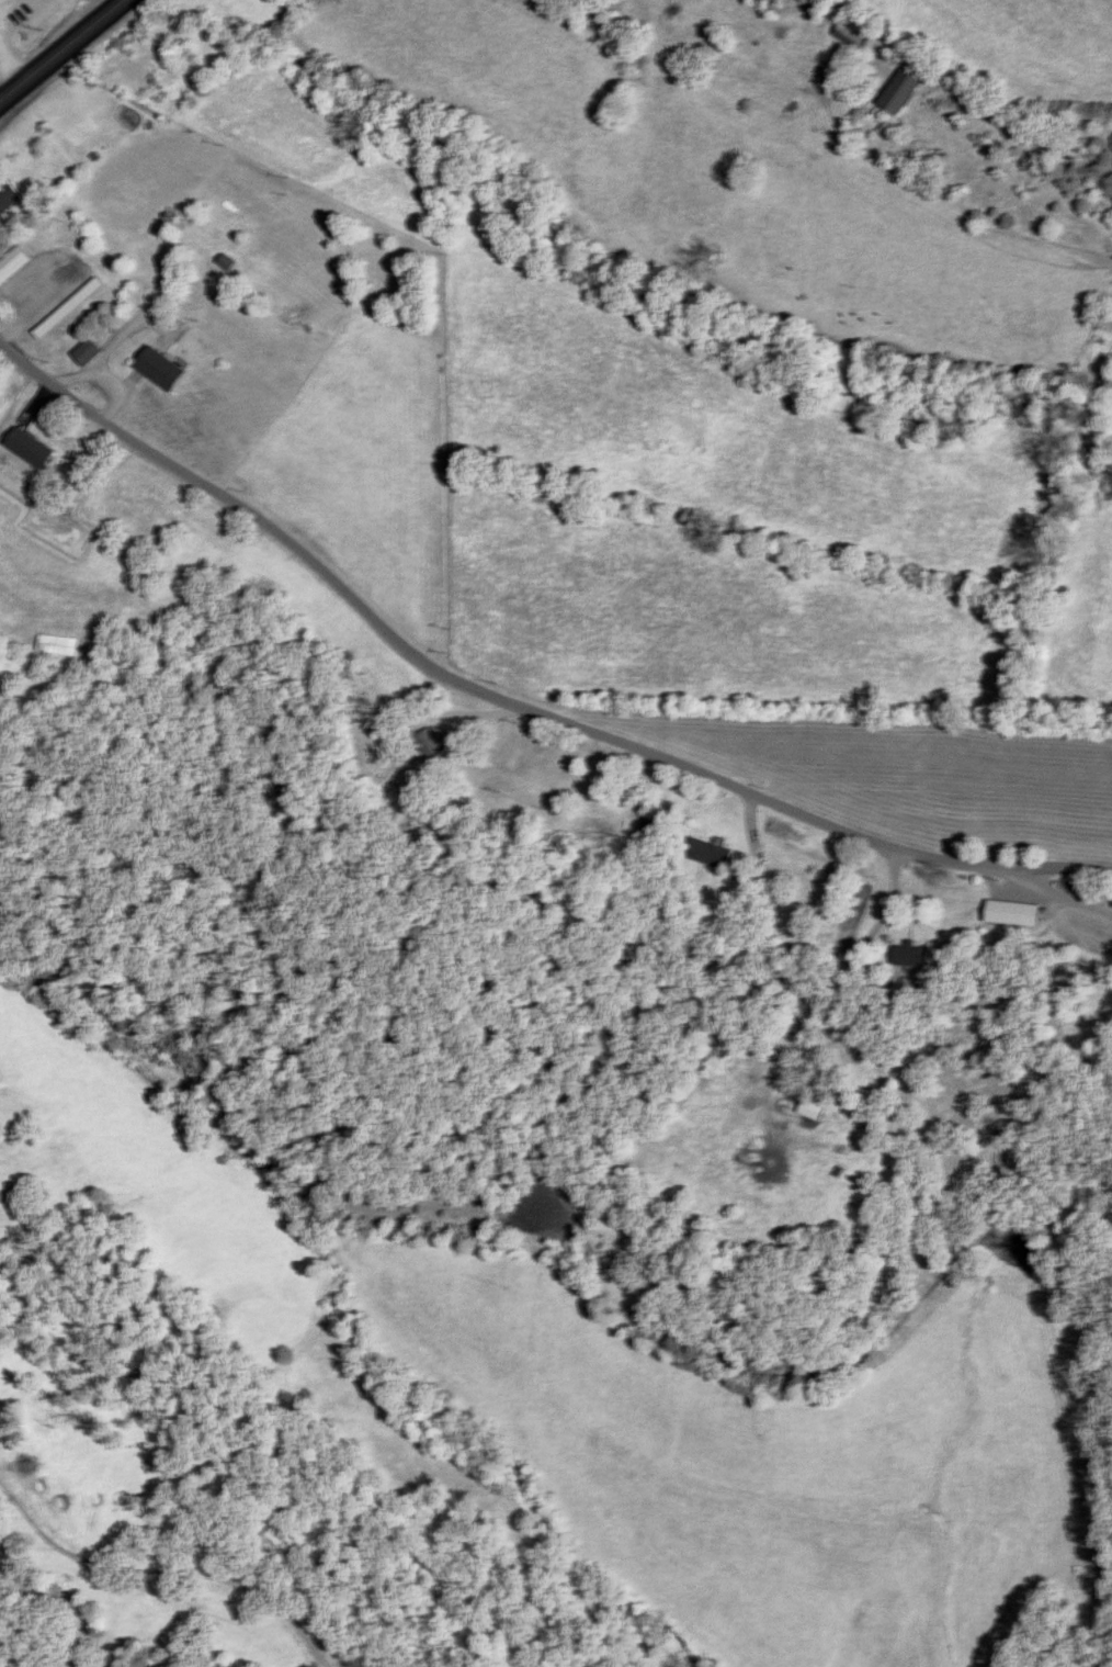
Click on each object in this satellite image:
building: (849, 37)
road: (60, 49)
road: (8, 68)
building: (900, 91)
building: (9, 198)
building: (13, 263)
building: (65, 312)
building: (88, 353)
building: (162, 370)
building: (32, 448)
building: (58, 644)
road: (422, 655)
building: (423, 741)
building: (536, 789)
building: (651, 829)
building: (704, 849)
road: (1007, 876)
building: (795, 901)
building: (1014, 912)
building: (914, 954)
building: (813, 1108)

